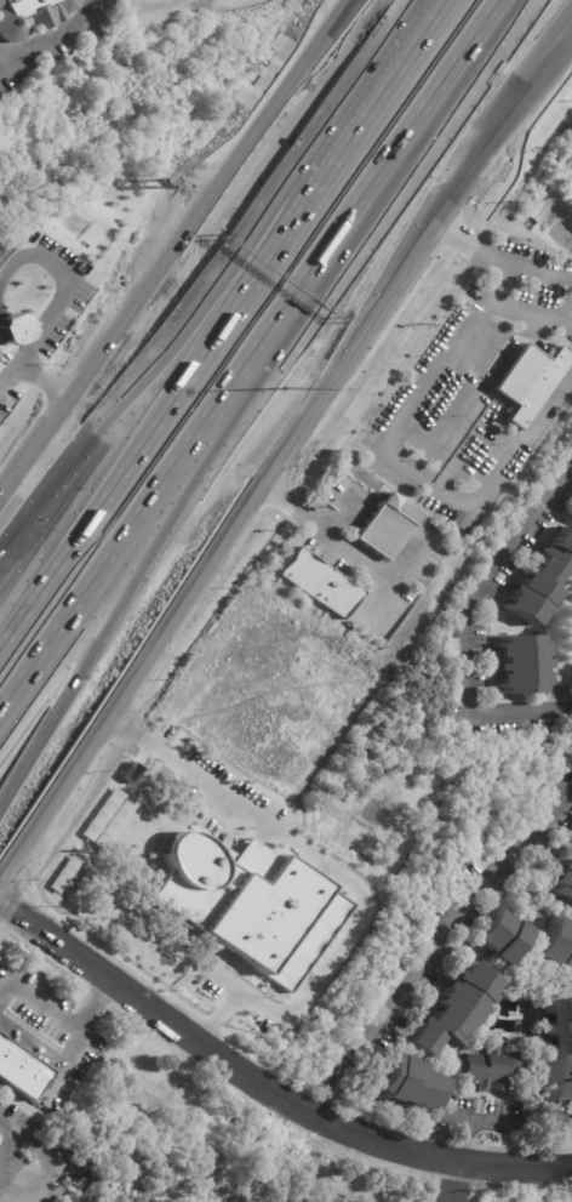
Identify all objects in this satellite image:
building: (30, 16)
road: (48, 39)
road: (8, 55)
road: (524, 91)
road: (365, 110)
road: (383, 169)
road: (448, 198)
road: (469, 244)
road: (172, 255)
road: (540, 267)
road: (247, 273)
road: (62, 285)
road: (527, 312)
building: (10, 329)
road: (33, 372)
building: (530, 382)
road: (98, 431)
road: (468, 455)
road: (401, 466)
road: (103, 475)
road: (336, 509)
building: (571, 513)
building: (387, 526)
road: (131, 531)
road: (326, 534)
road: (210, 559)
road: (133, 571)
road: (396, 579)
building: (542, 582)
building: (319, 583)
road: (463, 620)
building: (522, 663)
building: (451, 665)
building: (501, 847)
road: (339, 876)
building: (565, 885)
building: (247, 904)
building: (504, 935)
building: (559, 940)
road: (439, 951)
building: (391, 985)
road: (38, 1003)
road: (91, 1003)
building: (457, 1009)
road: (42, 1046)
building: (555, 1054)
road: (218, 1055)
building: (490, 1067)
building: (21, 1070)
building: (410, 1083)
building: (55, 1113)
road: (467, 1118)
road: (7, 1145)
road: (47, 1155)
road: (515, 1167)
road: (456, 1181)

